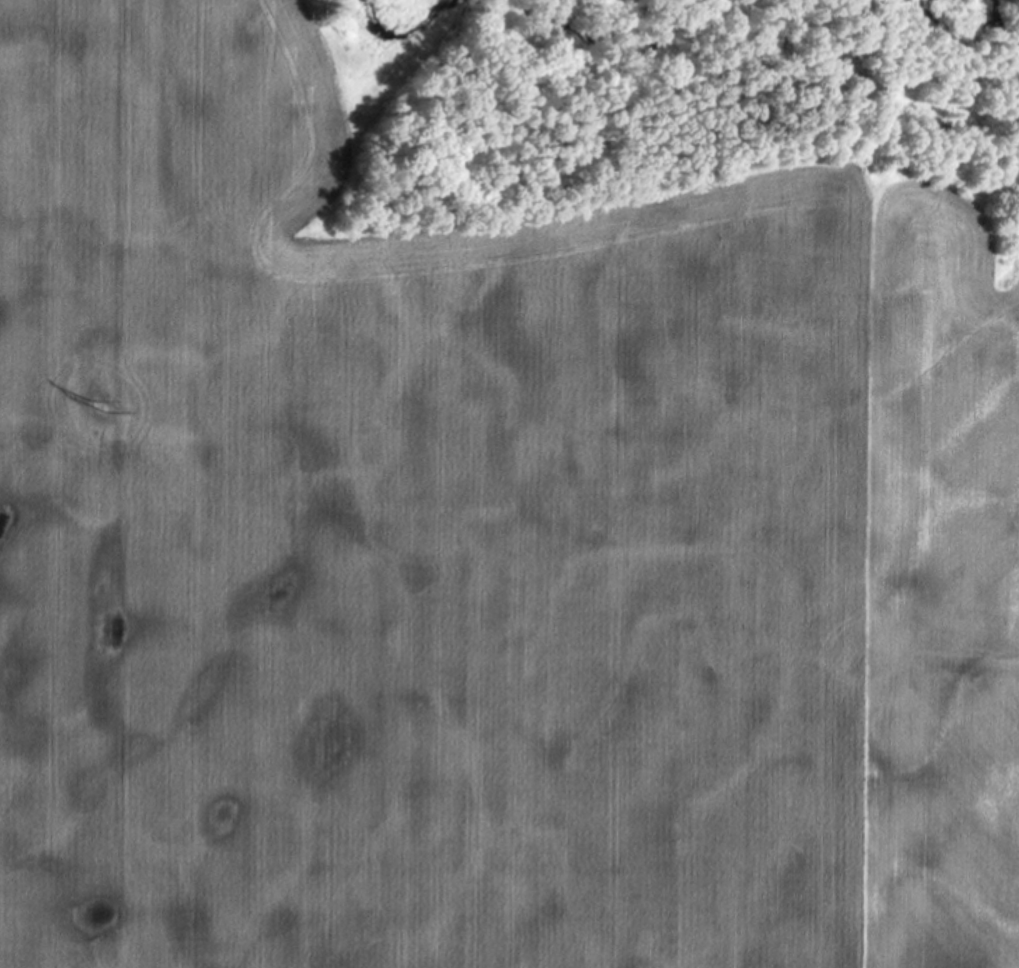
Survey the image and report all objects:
power tower: (106, 406)

